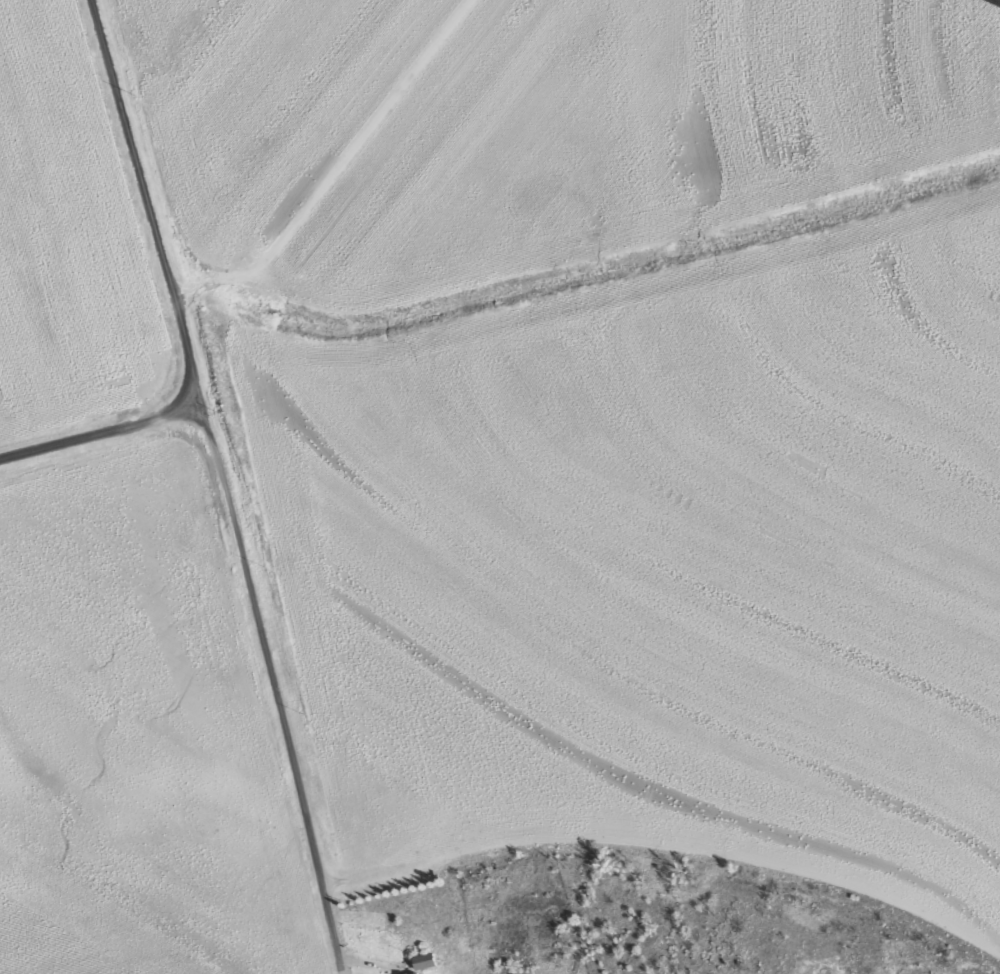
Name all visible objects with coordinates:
road: (335, 168)
road: (171, 290)
road: (264, 669)

